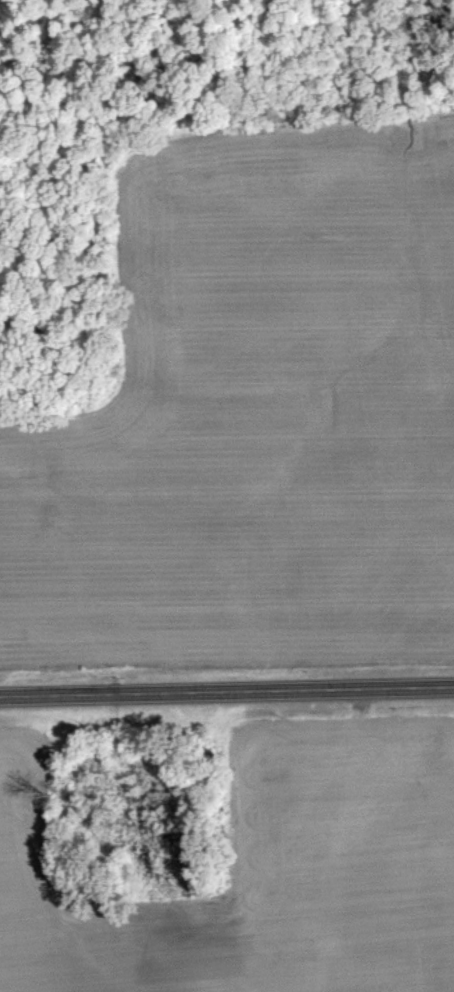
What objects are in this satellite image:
road: (227, 695)

